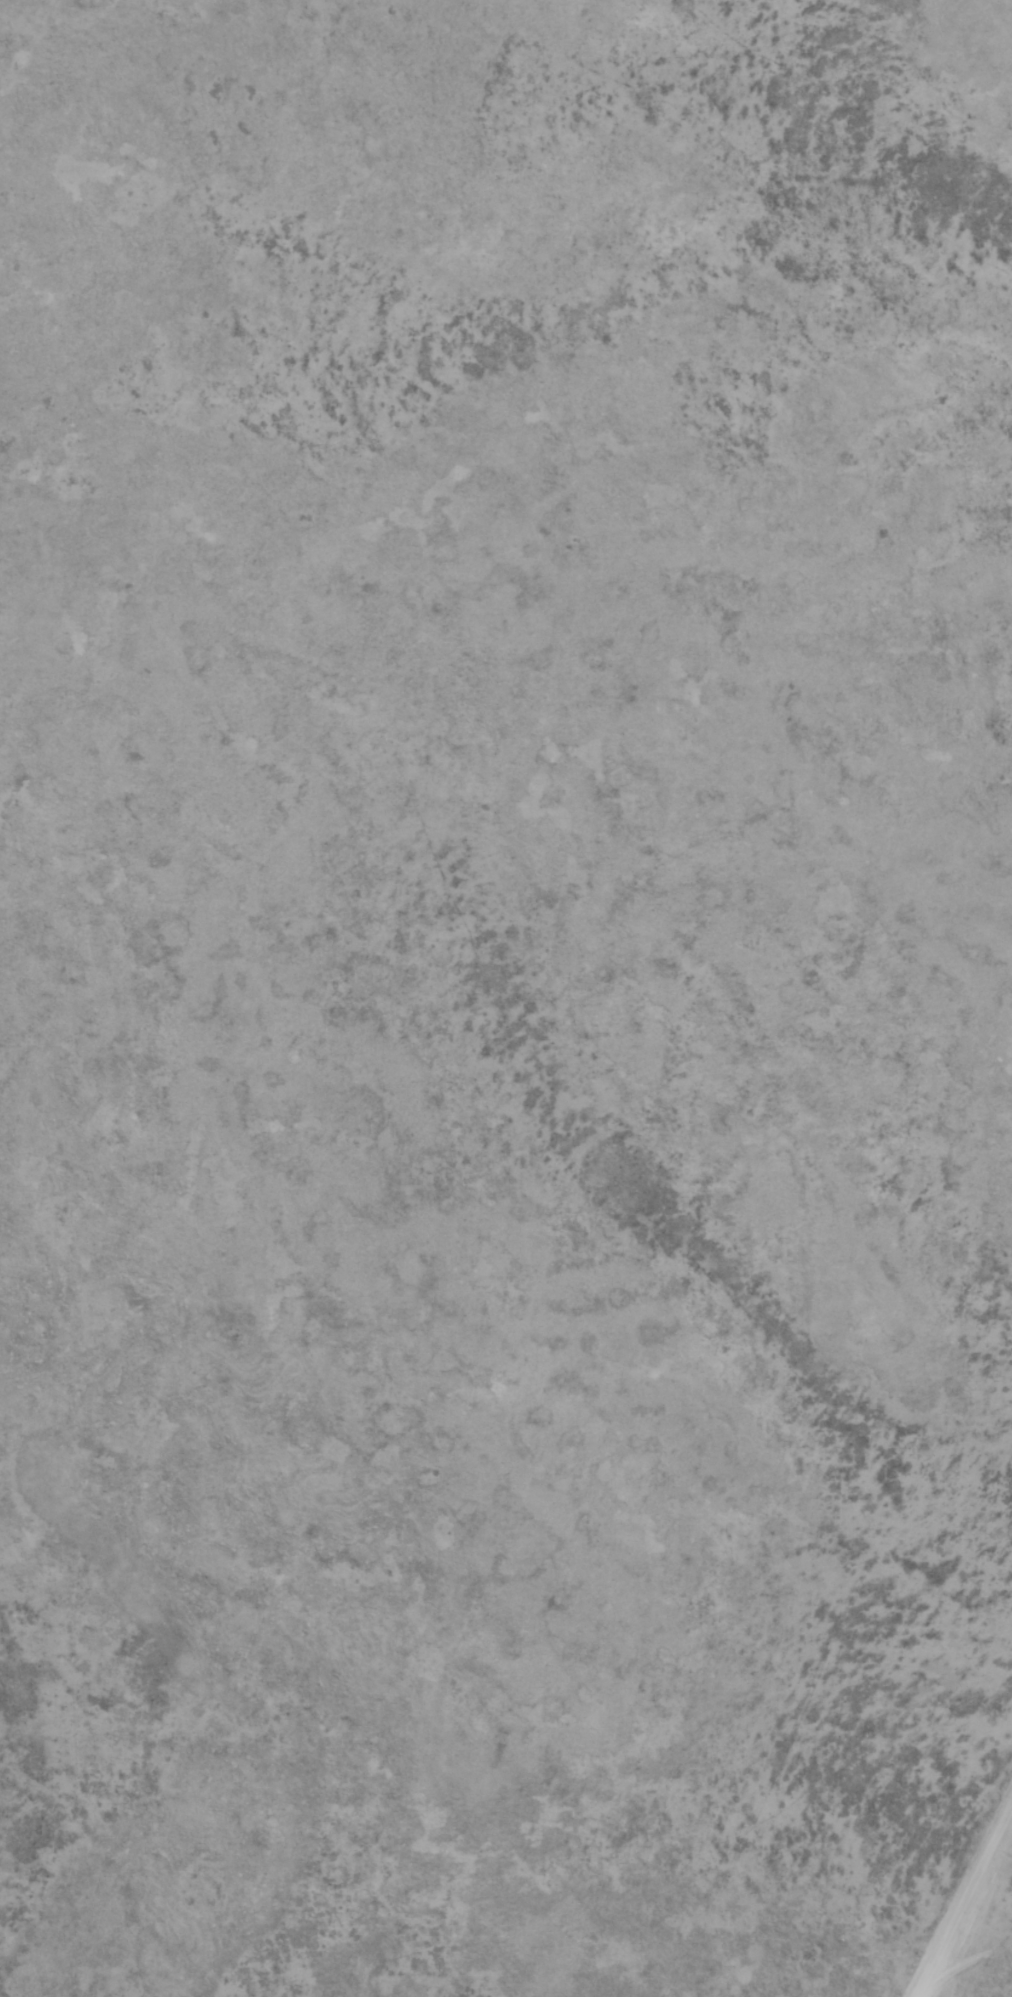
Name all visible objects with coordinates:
road: (995, 1967)

